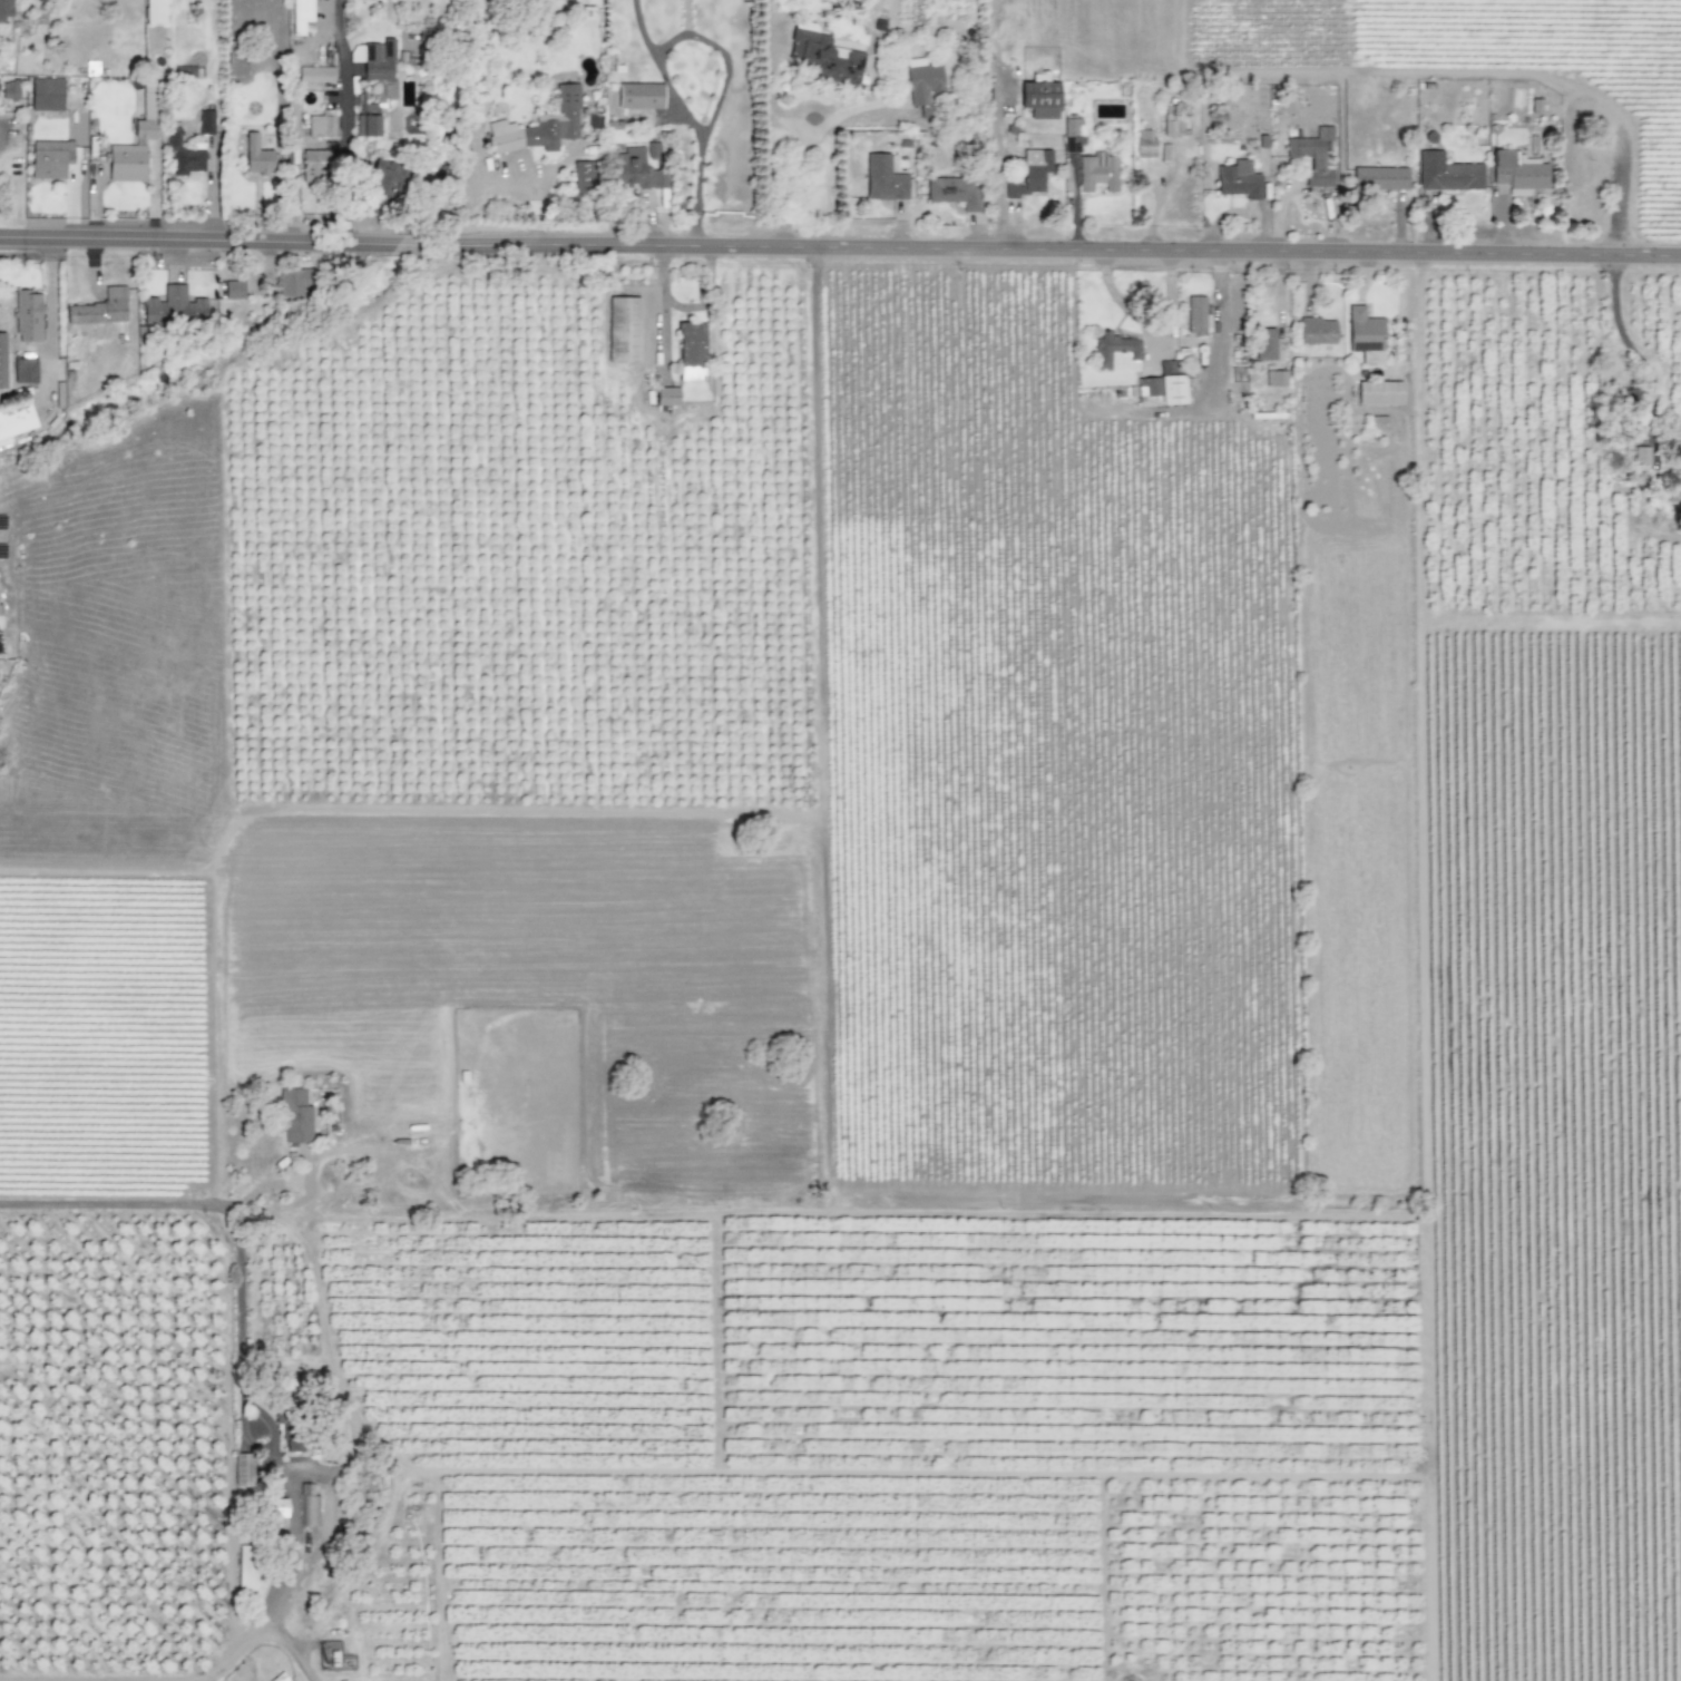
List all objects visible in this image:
building: (4, 10)
building: (154, 11)
building: (301, 14)
building: (821, 56)
building: (236, 58)
building: (377, 65)
road: (727, 67)
building: (315, 74)
building: (920, 86)
building: (9, 90)
building: (46, 95)
building: (639, 96)
building: (1039, 99)
building: (1535, 106)
road: (342, 120)
building: (205, 121)
building: (1172, 121)
building: (541, 125)
building: (321, 126)
building: (367, 126)
building: (1072, 131)
building: (136, 139)
building: (1144, 144)
building: (183, 155)
building: (1312, 155)
building: (256, 156)
building: (50, 158)
building: (314, 165)
building: (639, 167)
building: (1097, 172)
building: (1030, 173)
building: (1446, 173)
building: (1516, 174)
building: (583, 177)
building: (384, 178)
building: (1379, 178)
building: (883, 179)
building: (1238, 179)
building: (954, 192)
road: (536, 196)
road: (197, 240)
road: (407, 243)
road: (1049, 252)
building: (292, 282)
building: (233, 290)
road: (656, 302)
building: (173, 307)
building: (100, 309)
building: (1195, 314)
building: (27, 316)
road: (48, 321)
building: (623, 330)
building: (1317, 331)
building: (1365, 335)
building: (1264, 345)
road: (1633, 348)
building: (691, 350)
building: (2, 361)
building: (25, 371)
building: (1274, 379)
building: (1162, 388)
building: (1378, 392)
building: (666, 397)
building: (1641, 457)
building: (1674, 491)
building: (0, 612)
building: (294, 1116)
road: (235, 1239)
building: (295, 1444)
building: (242, 1470)
road: (294, 1487)
building: (277, 1507)
building: (246, 1568)
road: (258, 1624)

